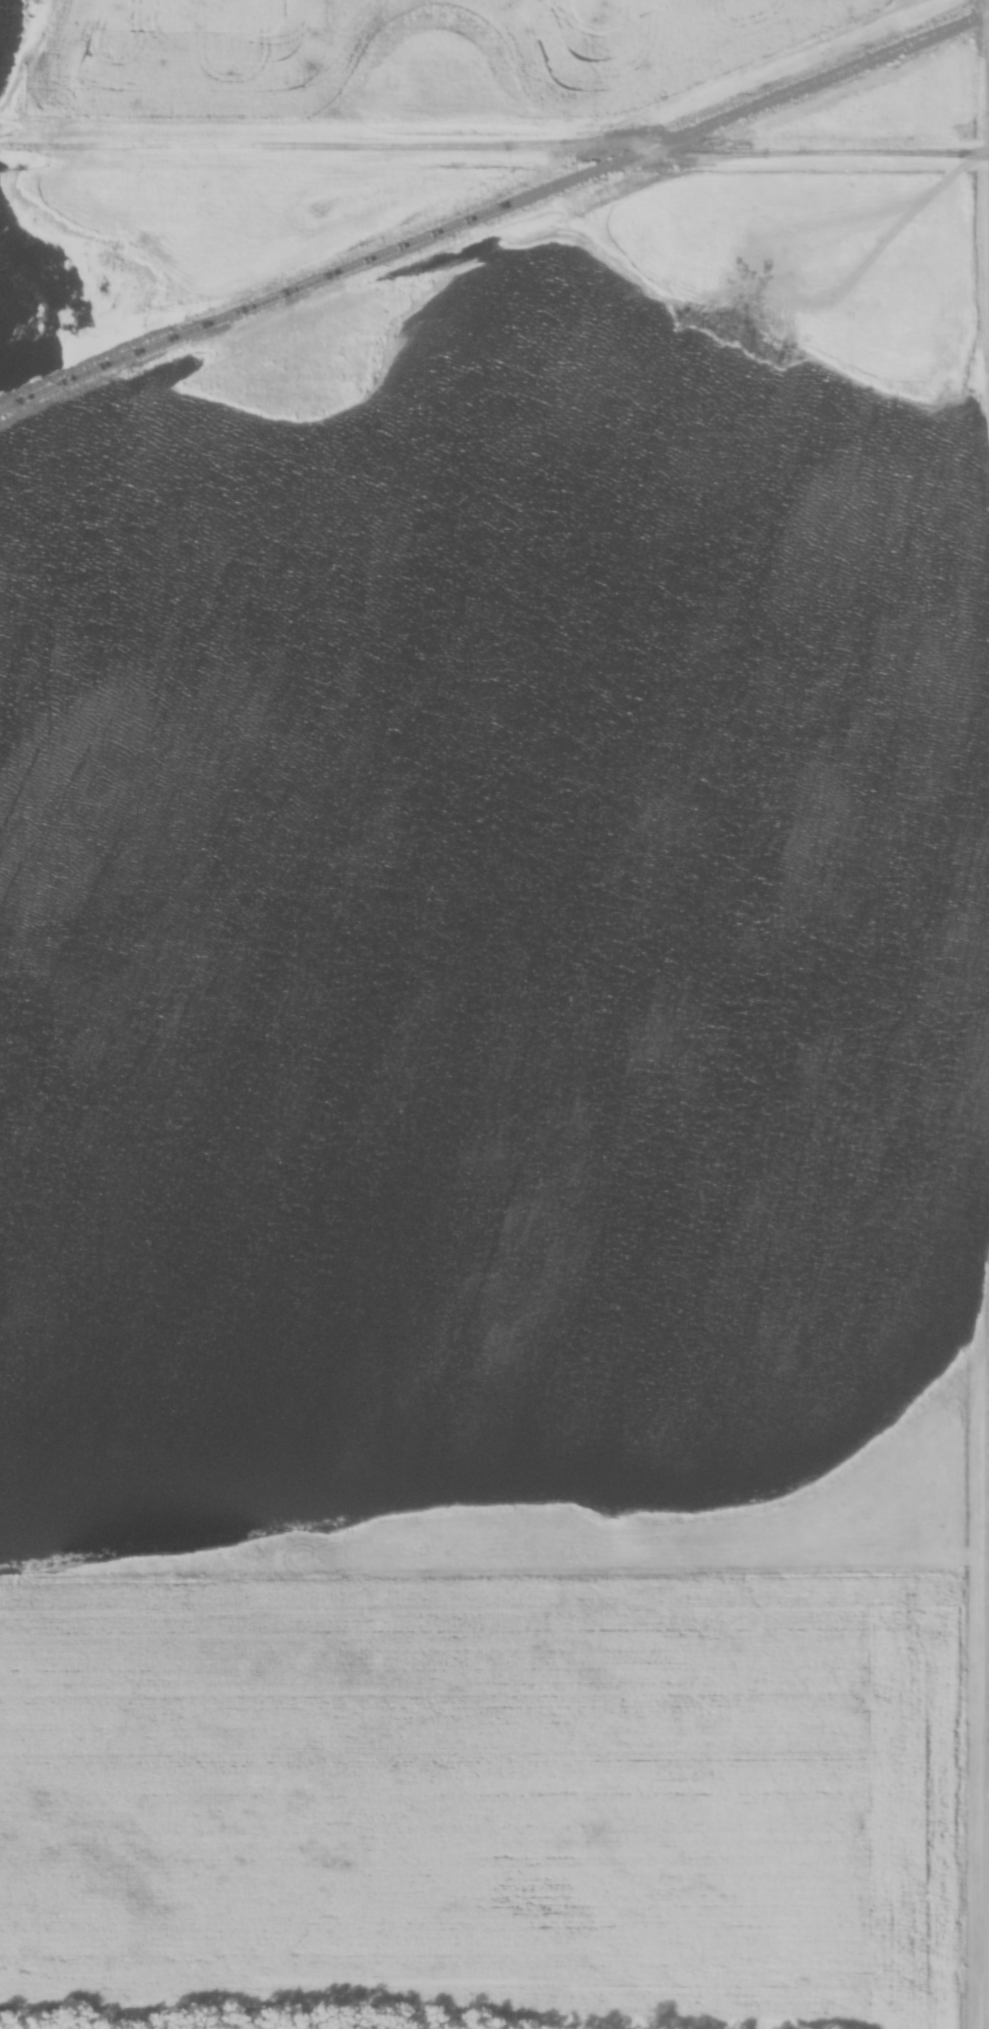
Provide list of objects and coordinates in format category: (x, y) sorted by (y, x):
road: (494, 148)
railway: (493, 210)

